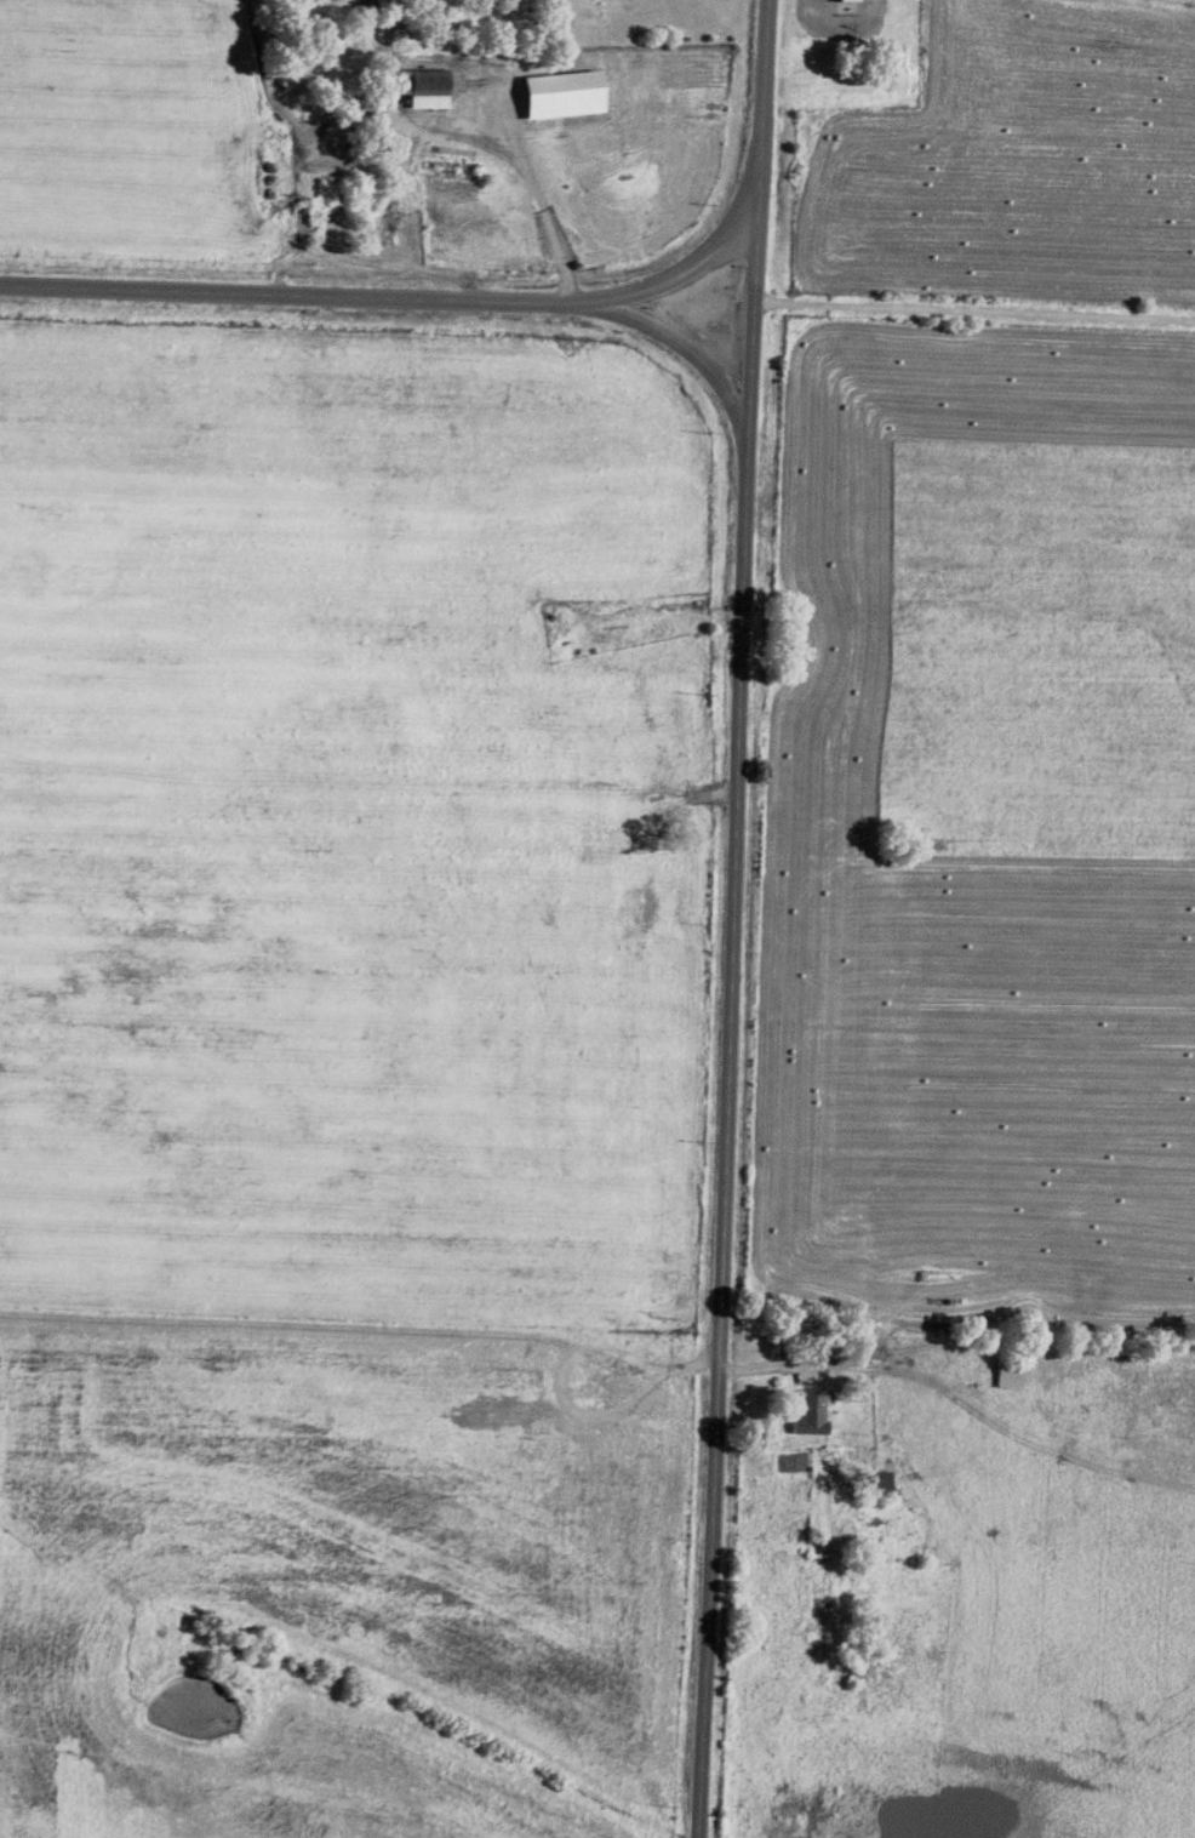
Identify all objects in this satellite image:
building: (847, 2)
building: (428, 86)
road: (759, 90)
building: (332, 193)
building: (378, 229)
road: (406, 301)
road: (677, 346)
road: (730, 1009)
building: (1007, 1375)
building: (808, 1416)
building: (876, 1483)

